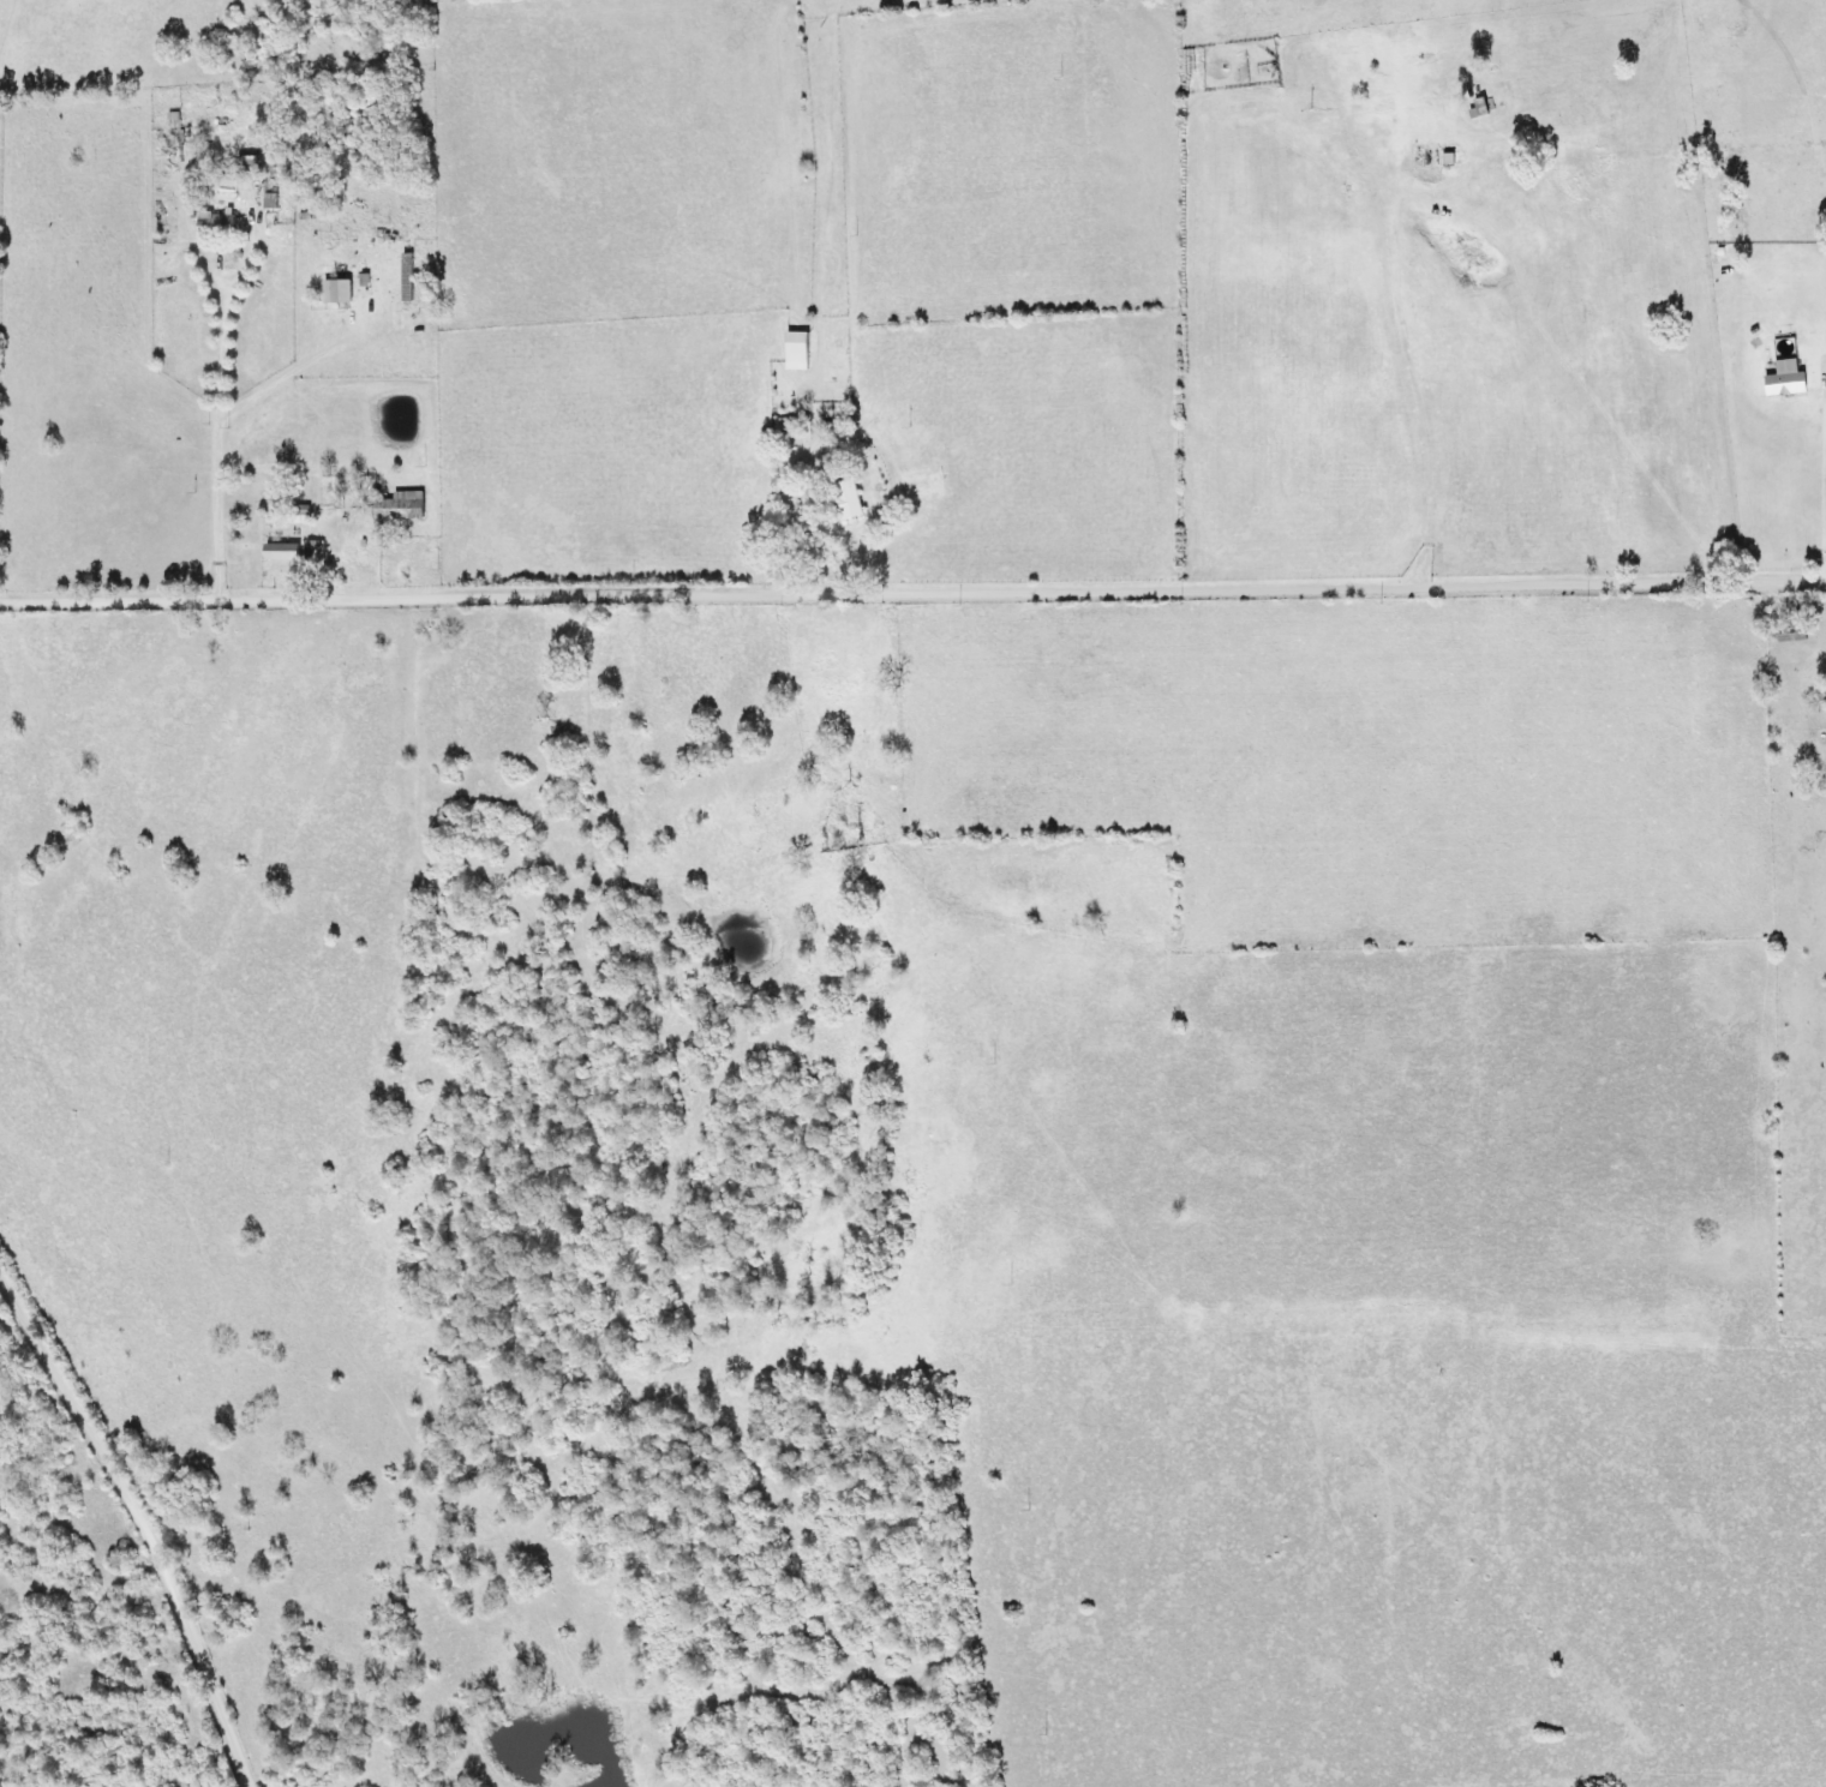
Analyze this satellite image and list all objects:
building: (1479, 108)
building: (1431, 157)
building: (252, 162)
building: (214, 221)
building: (405, 277)
road: (60, 287)
building: (336, 290)
building: (795, 347)
road: (100, 385)
road: (1419, 418)
building: (780, 427)
building: (801, 431)
building: (845, 499)
building: (399, 505)
road: (287, 544)
building: (280, 551)
building: (312, 551)
road: (912, 589)
building: (1789, 635)
road: (146, 1515)

